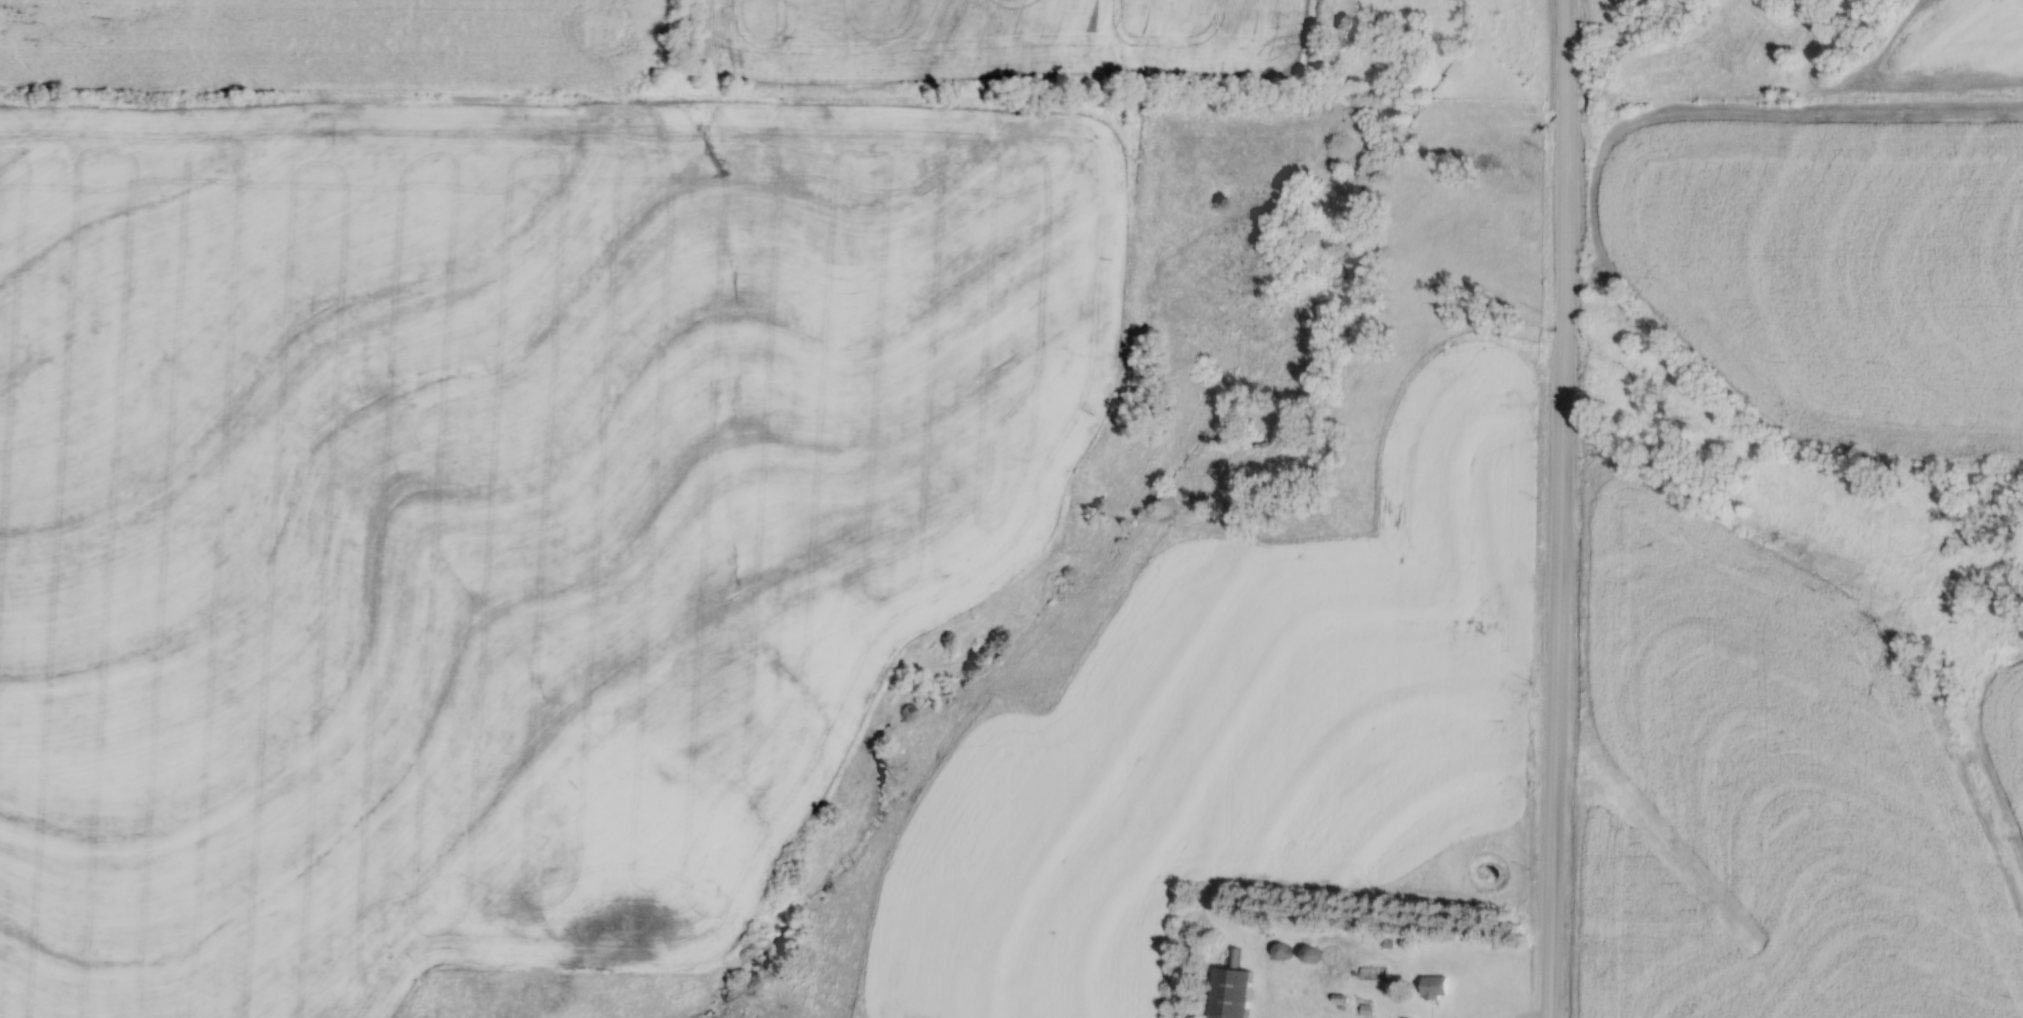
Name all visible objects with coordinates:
road: (1560, 509)
building: (1318, 955)
building: (1432, 987)
building: (1225, 993)

